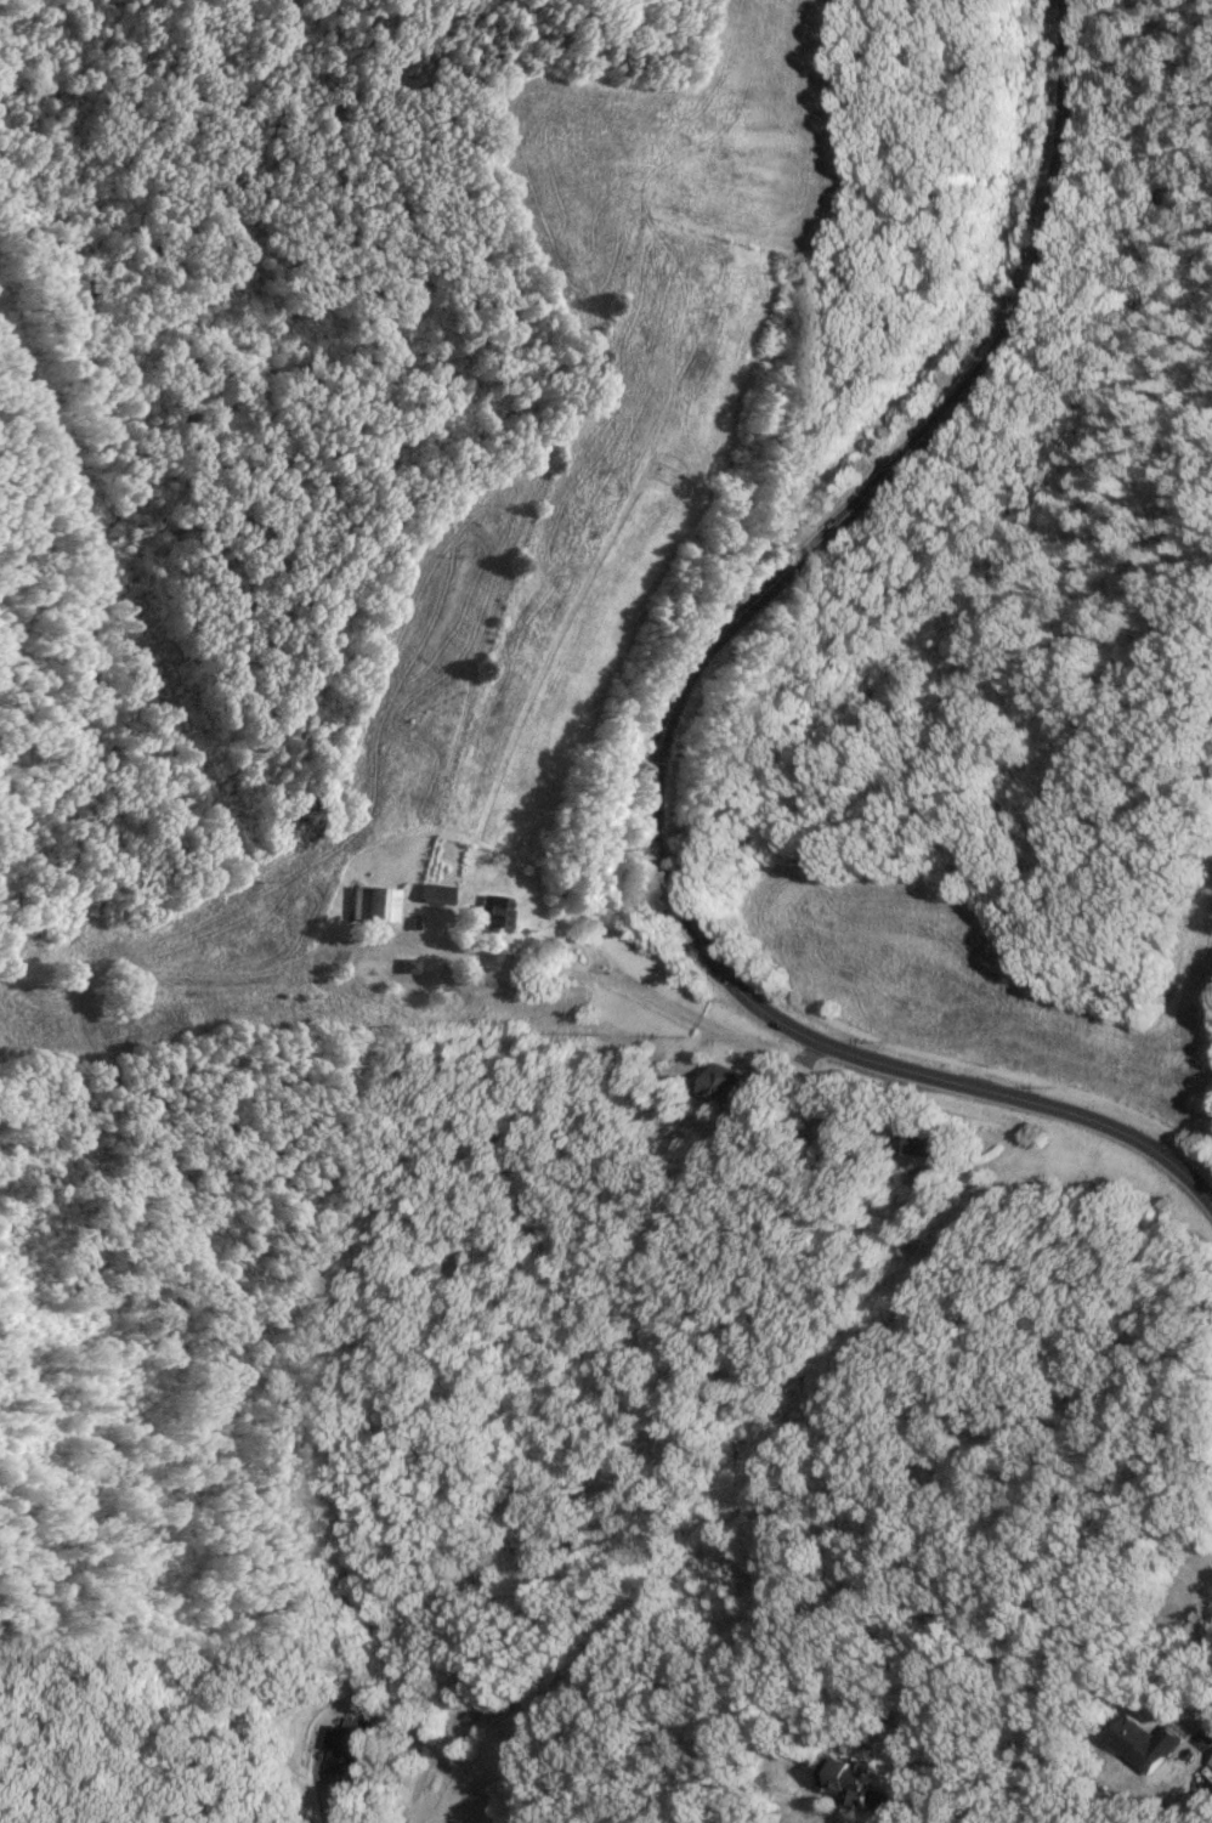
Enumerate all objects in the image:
road: (678, 710)
building: (436, 894)
building: (376, 905)
building: (489, 911)
road: (644, 995)
building: (731, 1083)
building: (843, 1134)
building: (941, 1143)
road: (1207, 1733)
building: (1152, 1744)
building: (346, 1753)
building: (857, 1779)
road: (316, 1791)

